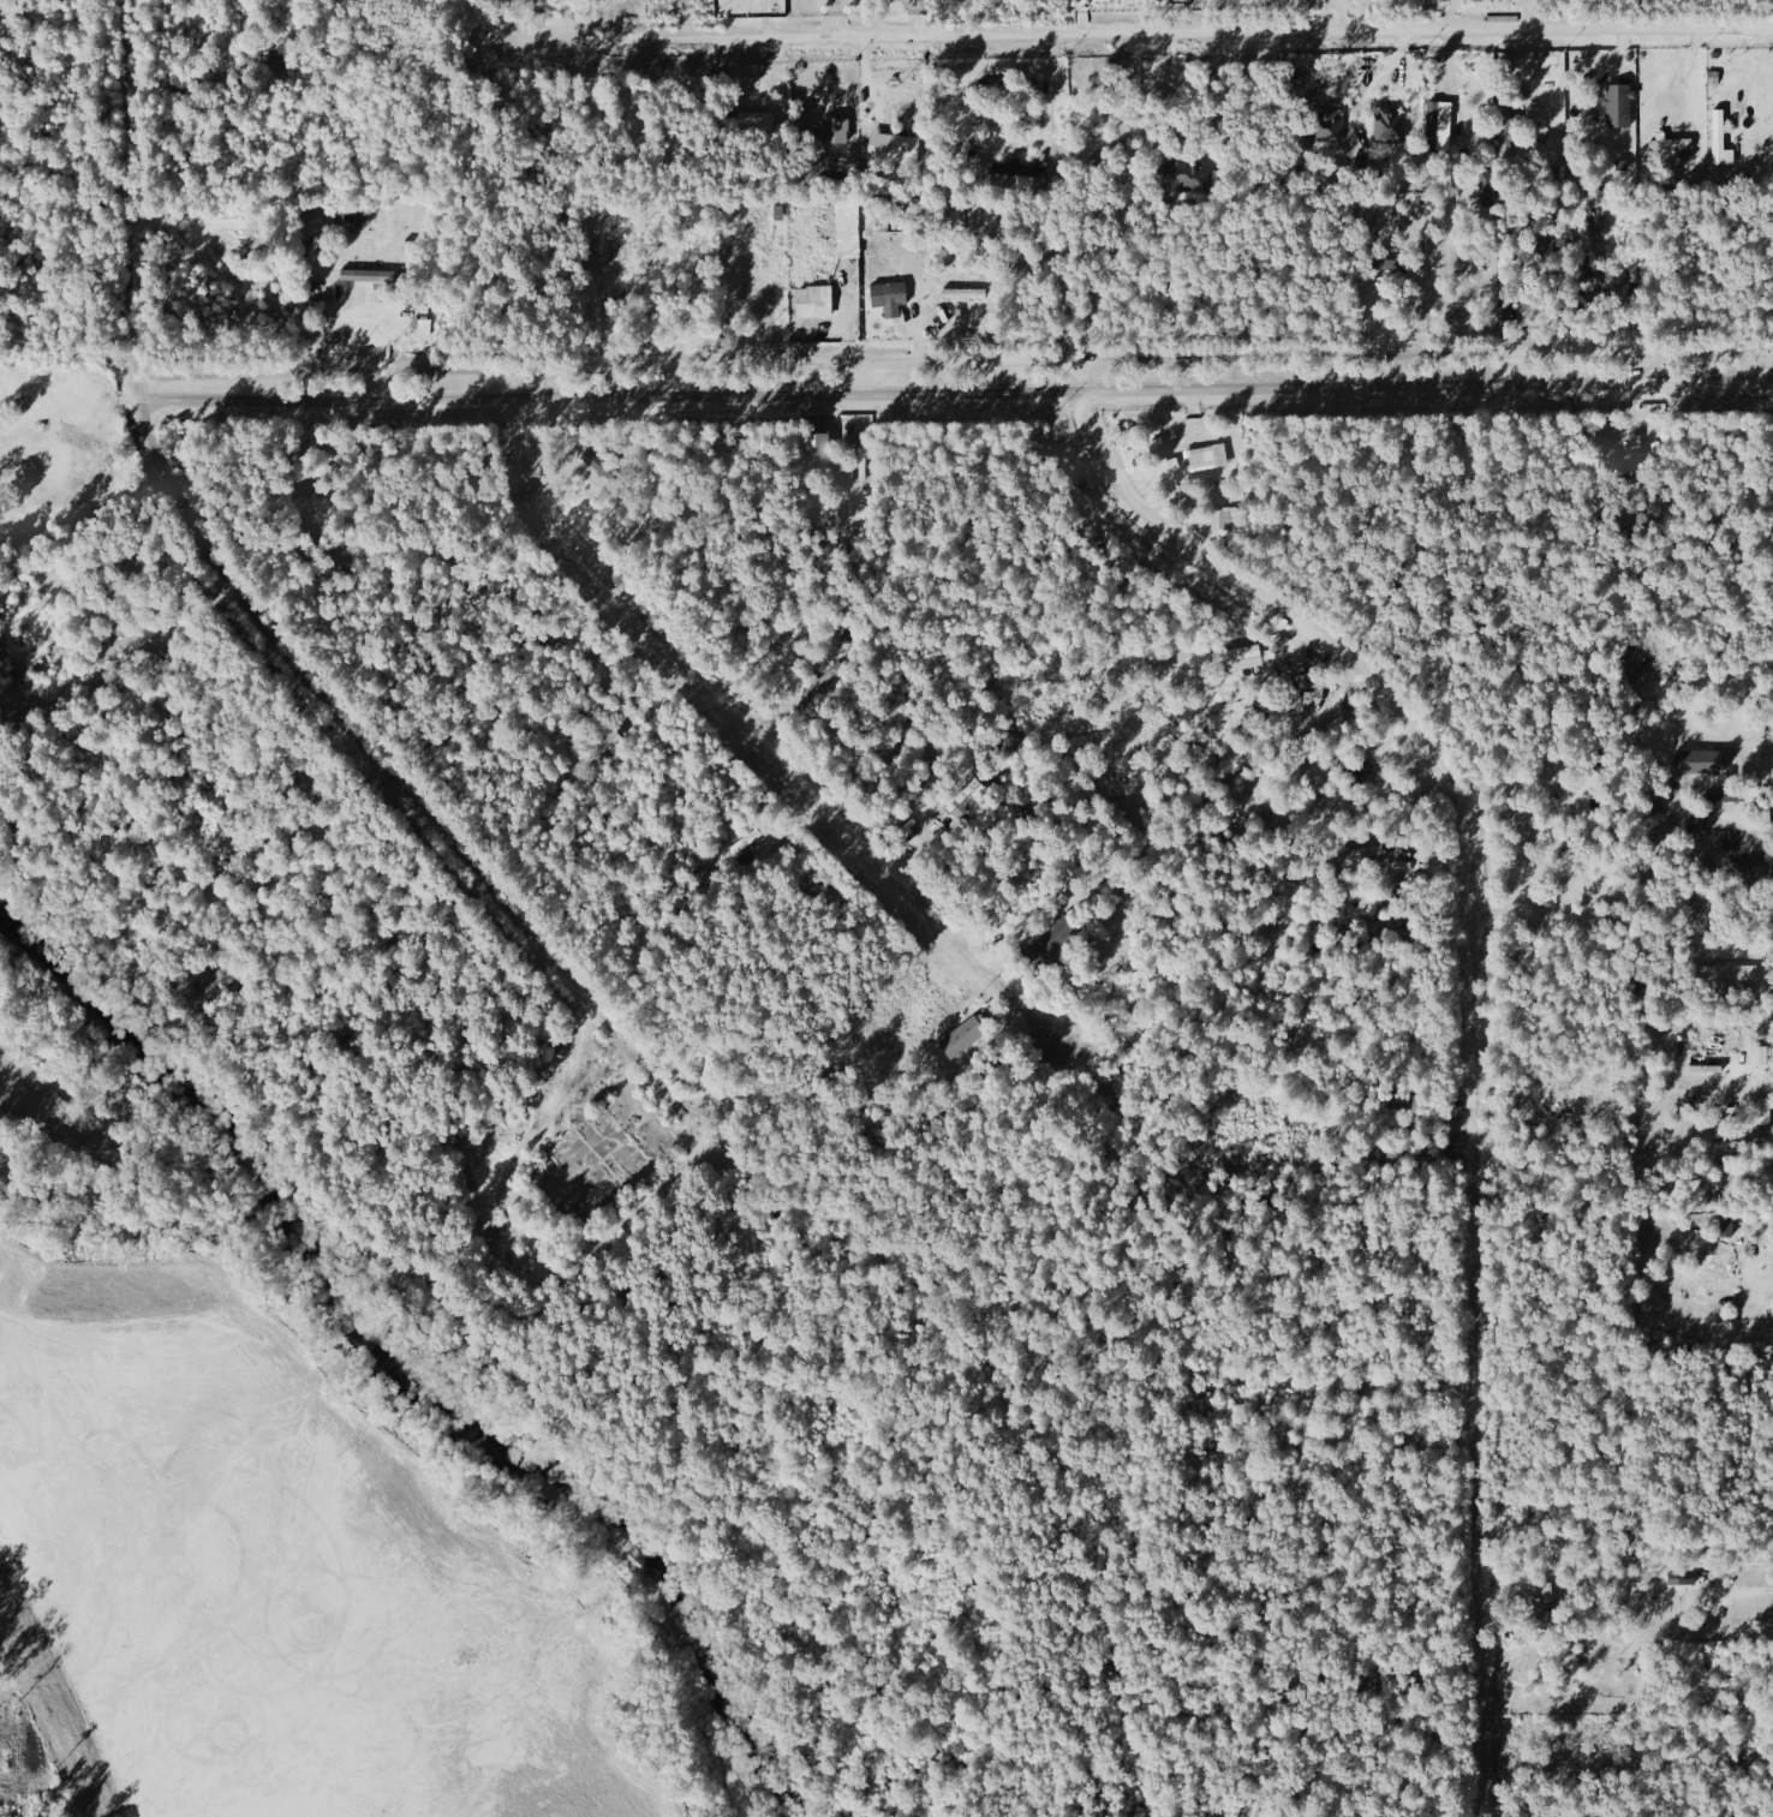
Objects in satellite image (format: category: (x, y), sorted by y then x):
road: (1141, 34)
building: (1618, 104)
building: (748, 118)
building: (1438, 125)
building: (1327, 127)
building: (1389, 127)
building: (1506, 132)
building: (1720, 141)
building: (1672, 144)
building: (893, 153)
building: (822, 165)
building: (1019, 174)
building: (1189, 175)
building: (848, 228)
building: (366, 275)
building: (770, 281)
building: (889, 292)
building: (962, 294)
building: (813, 303)
road: (955, 359)
road: (959, 393)
building: (1163, 453)
building: (1202, 459)
road: (265, 644)
building: (1240, 658)
road: (760, 735)
building: (1362, 771)
building: (1363, 853)
building: (1045, 949)
building: (1729, 979)
road: (1470, 1021)
building: (962, 1039)
building: (1762, 1107)
building: (1725, 1227)
river: (393, 1359)
building: (1676, 1578)
building: (1546, 1607)

